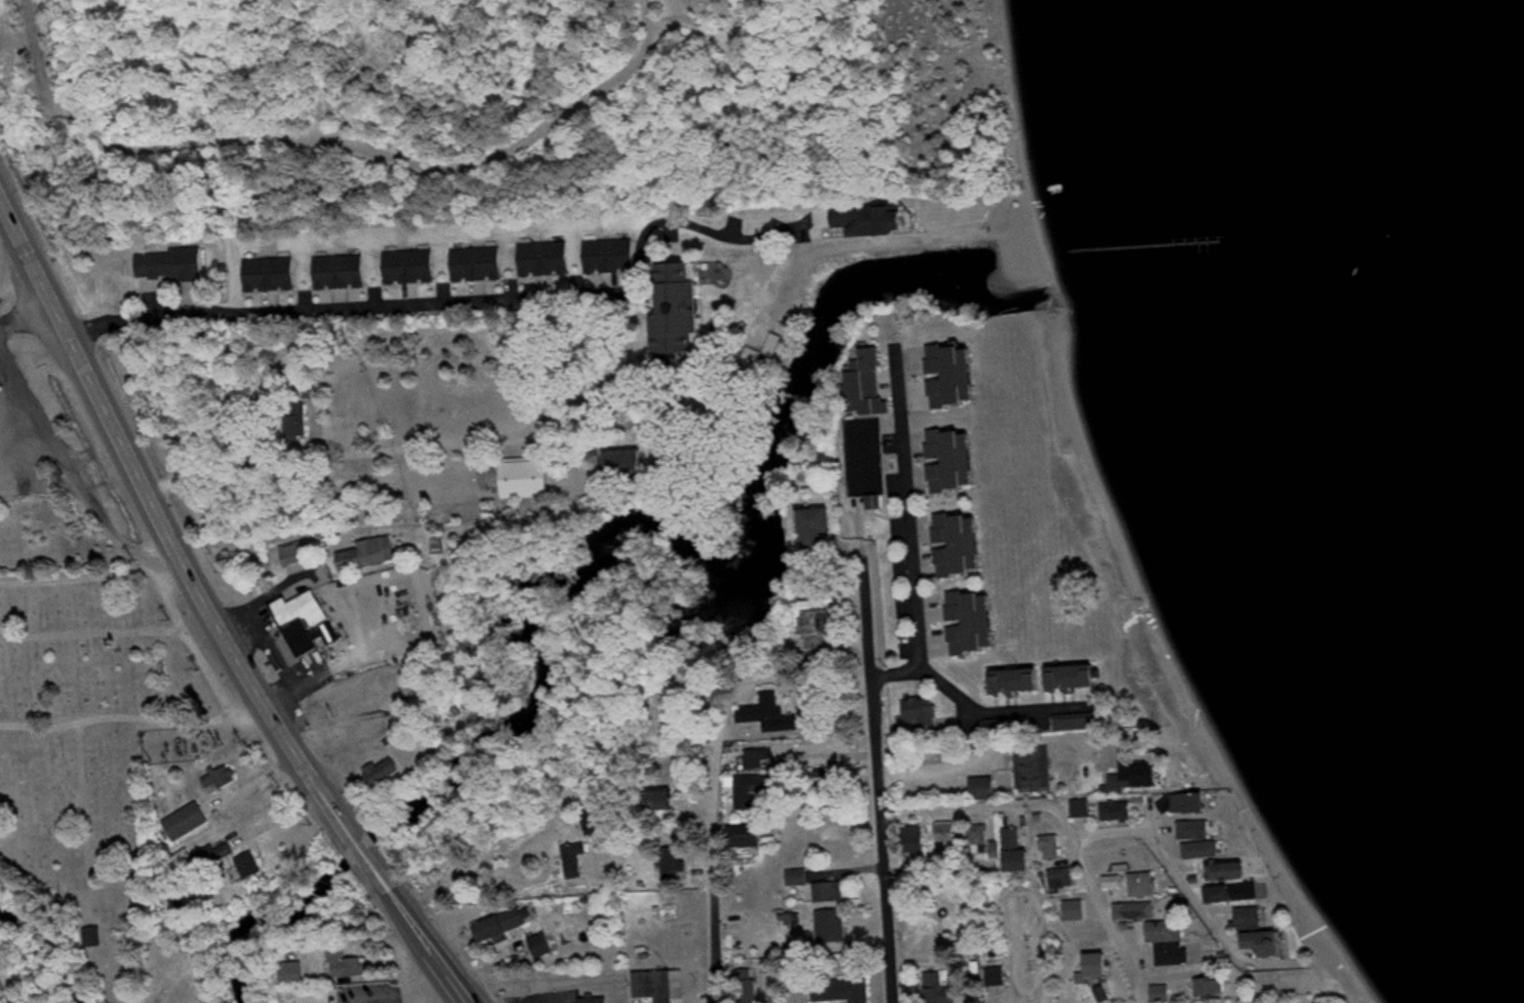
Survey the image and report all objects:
road: (41, 80)
park: (520, 106)
road: (380, 155)
building: (876, 219)
building: (613, 257)
building: (548, 259)
building: (175, 265)
building: (481, 265)
building: (413, 268)
building: (343, 273)
building: (273, 275)
road: (350, 309)
building: (683, 311)
building: (770, 343)
building: (945, 378)
building: (872, 385)
building: (298, 423)
road: (575, 442)
park: (867, 457)
building: (956, 462)
building: (629, 467)
building: (819, 531)
building: (962, 547)
building: (297, 555)
building: (372, 556)
road: (212, 614)
building: (304, 622)
building: (975, 624)
building: (819, 630)
building: (1077, 679)
building: (1020, 683)
building: (772, 716)
building: (923, 716)
building: (1006, 725)
power substation: (173, 747)
building: (1039, 769)
building: (385, 772)
road: (932, 775)
road: (881, 778)
building: (223, 781)
building: (1125, 784)
building: (755, 789)
building: (987, 789)
building: (663, 800)
road: (989, 805)
building: (1193, 805)
building: (1121, 813)
building: (188, 823)
building: (1199, 831)
building: (947, 835)
building: (751, 837)
building: (982, 837)
building: (917, 841)
building: (1054, 849)
building: (1205, 851)
building: (1019, 854)
building: (578, 857)
building: (676, 865)
building: (252, 866)
building: (1231, 872)
road: (712, 876)
building: (800, 879)
building: (1065, 880)
building: (1118, 883)
building: (1148, 886)
building: (832, 894)
building: (1235, 895)
road: (1196, 899)
building: (1138, 913)
building: (1254, 920)
road: (1111, 922)
building: (503, 928)
building: (834, 929)
building: (1170, 933)
building: (95, 939)
building: (1271, 946)
building: (545, 947)
building: (1178, 957)
building: (347, 966)
building: (1101, 966)
building: (295, 975)
building: (998, 979)
building: (661, 987)
building: (749, 987)
building: (941, 990)
building: (1214, 990)
building: (844, 992)
building: (1164, 995)
road: (411, 996)
building: (314, 997)
building: (597, 1001)

